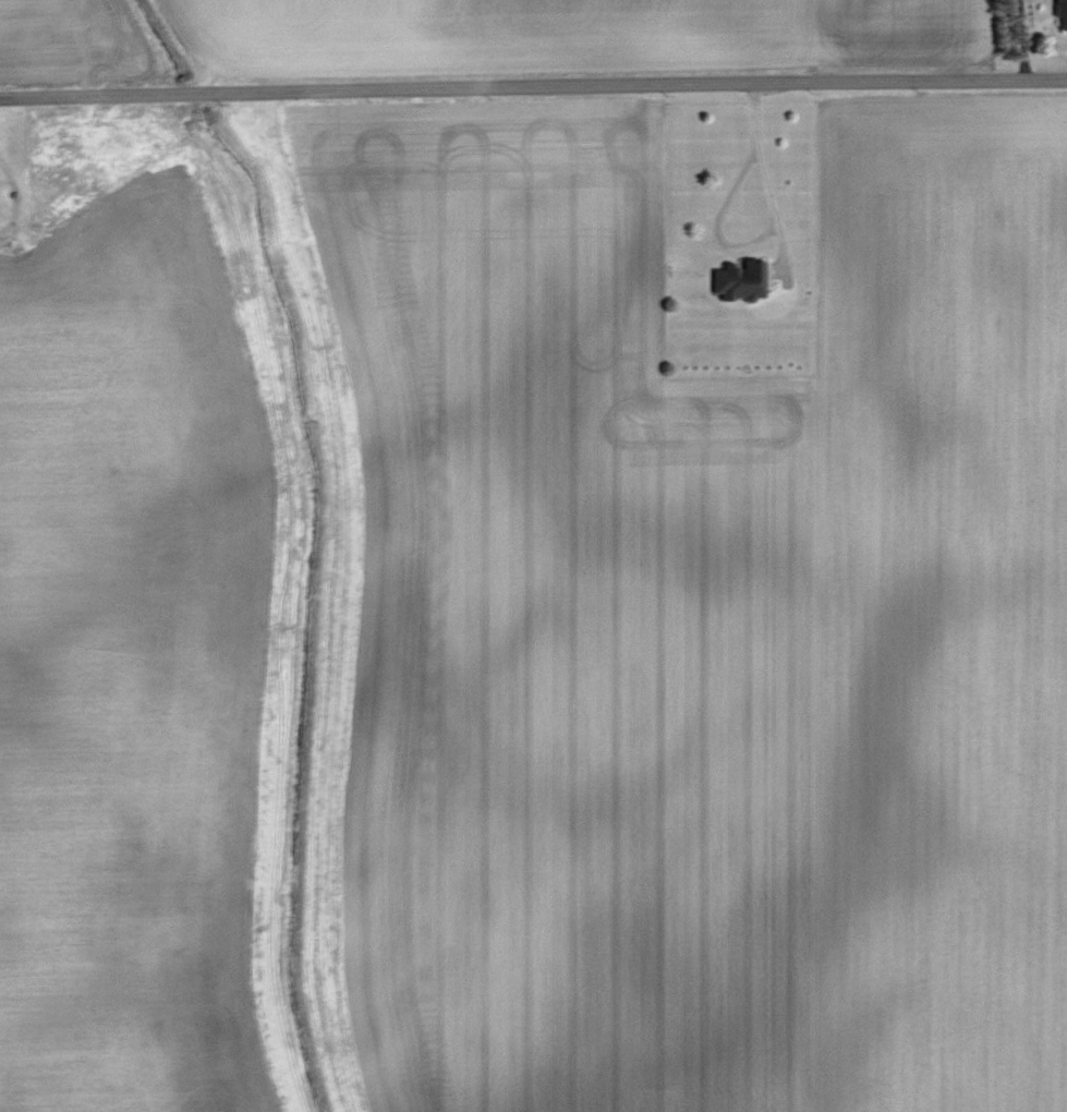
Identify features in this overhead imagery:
building: (1059, 14)
road: (533, 86)
road: (767, 230)
building: (736, 279)

